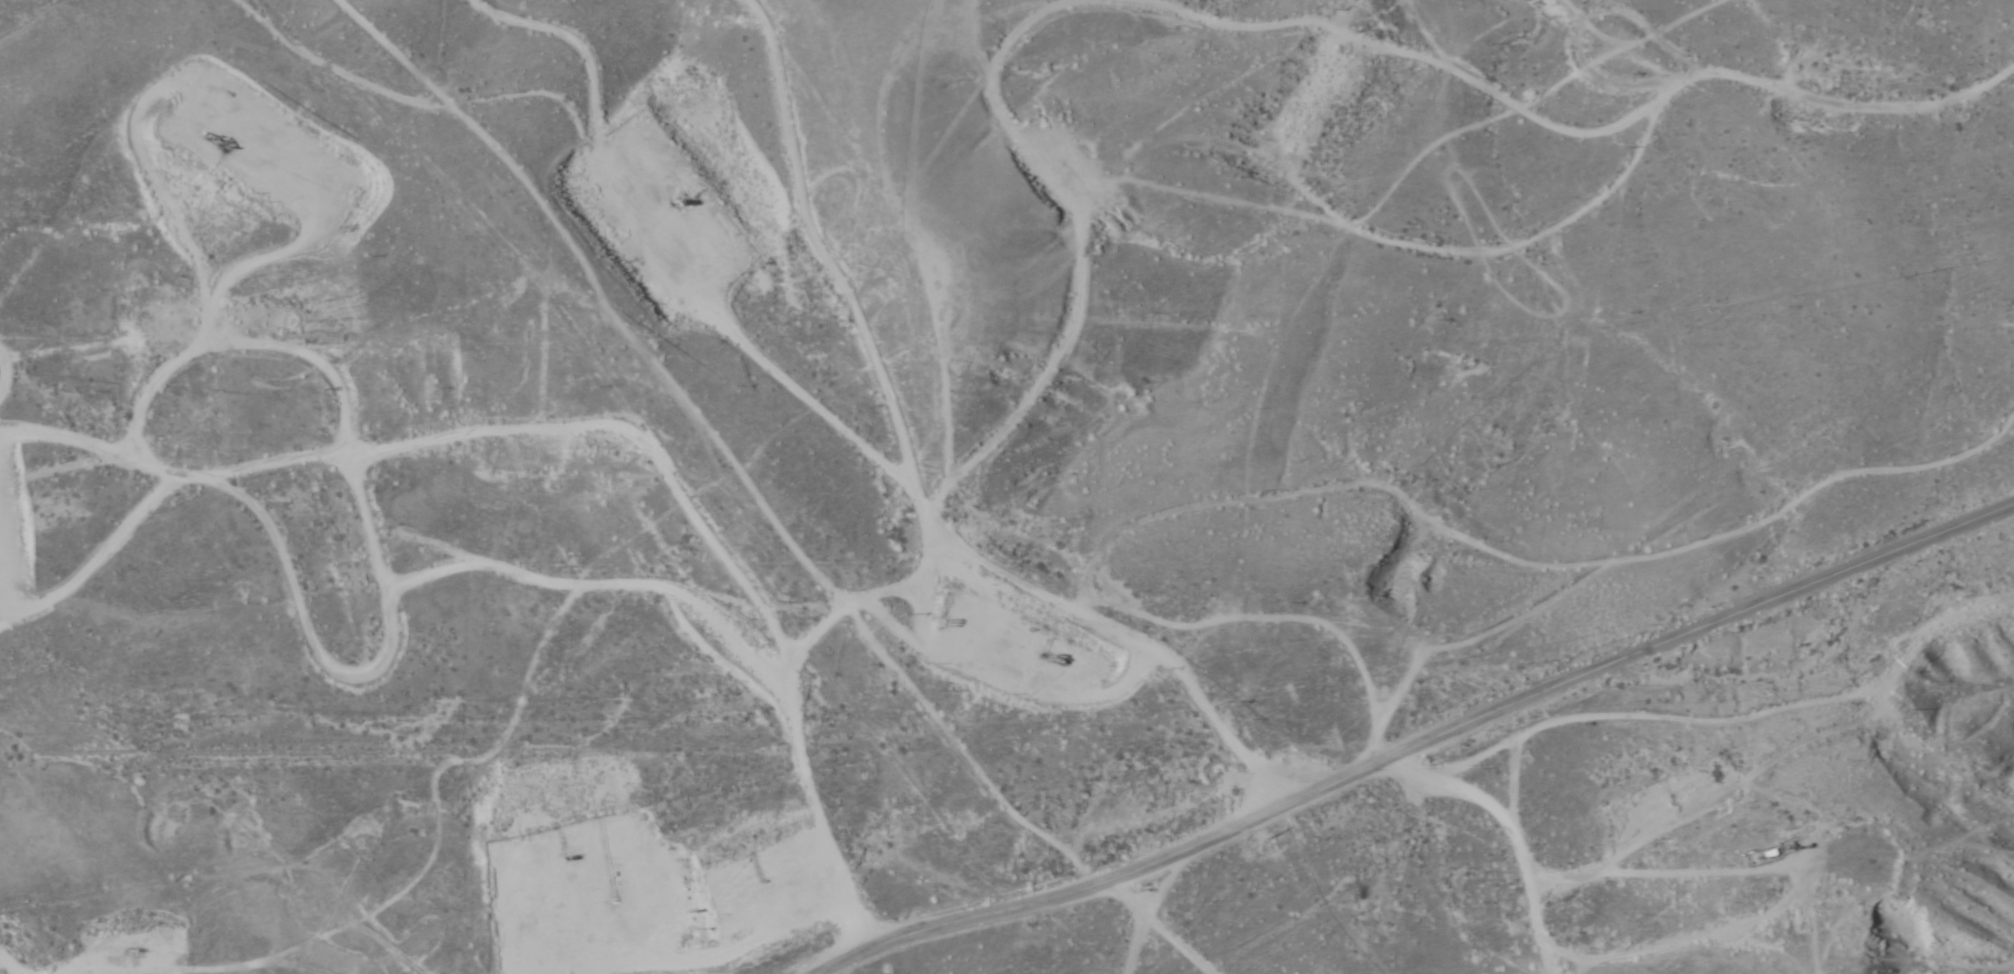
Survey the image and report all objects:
road: (1128, 360)
road: (2003, 488)
road: (991, 580)
road: (441, 624)
road: (964, 626)
road: (1418, 746)

